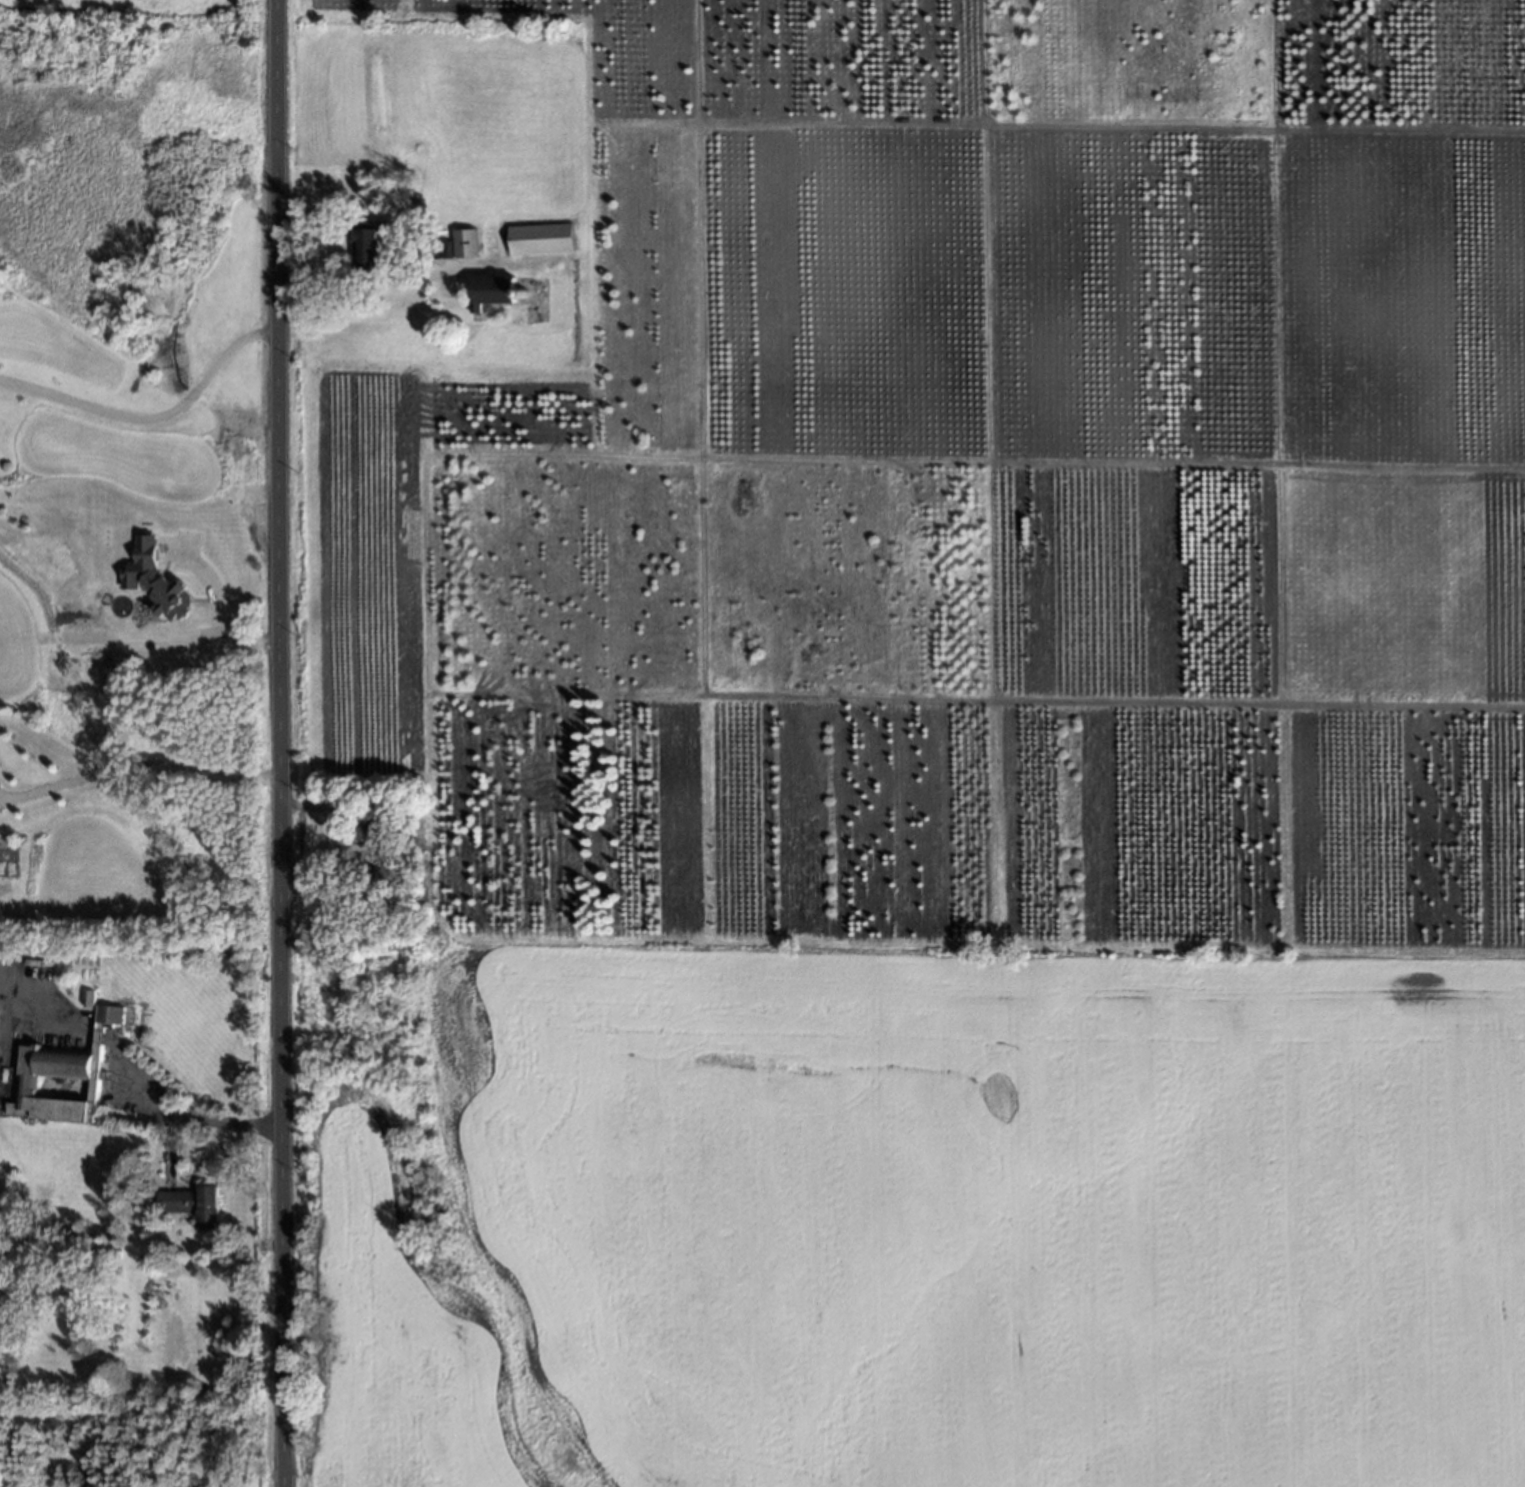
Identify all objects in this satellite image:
building: (539, 237)
building: (456, 243)
building: (366, 244)
road: (375, 279)
building: (489, 291)
building: (527, 298)
road: (152, 419)
building: (153, 577)
road: (278, 743)
road: (138, 768)
building: (381, 821)
building: (380, 875)
building: (86, 996)
road: (49, 1005)
road: (97, 1036)
building: (62, 1075)
road: (174, 1116)
road: (171, 1150)
building: (193, 1201)

